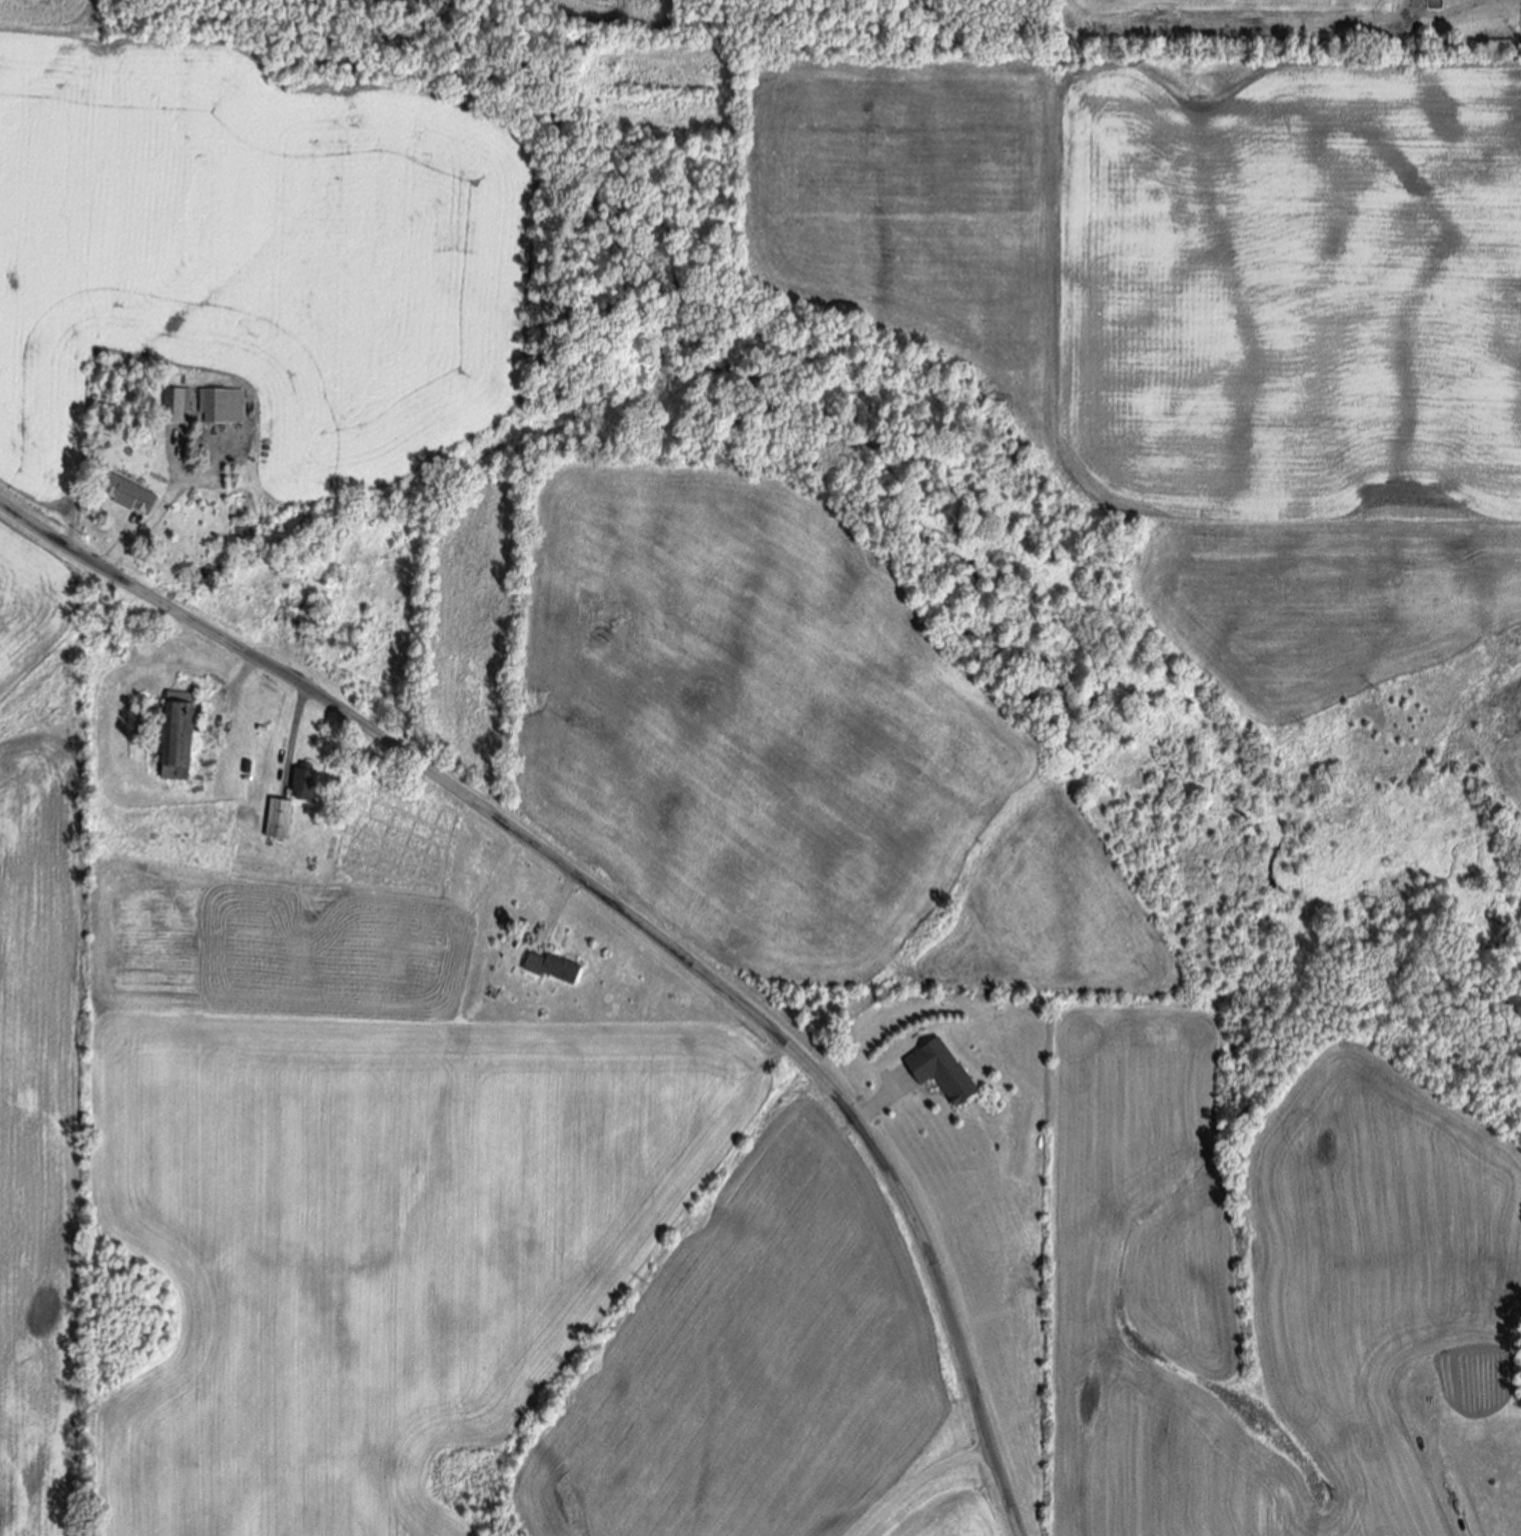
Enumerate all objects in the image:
building: (173, 407)
building: (214, 408)
building: (129, 497)
road: (119, 553)
building: (292, 615)
road: (291, 737)
building: (177, 738)
building: (304, 784)
building: (278, 820)
road: (558, 907)
road: (628, 918)
building: (552, 969)
building: (942, 1072)
road: (876, 1104)
road: (919, 1480)

